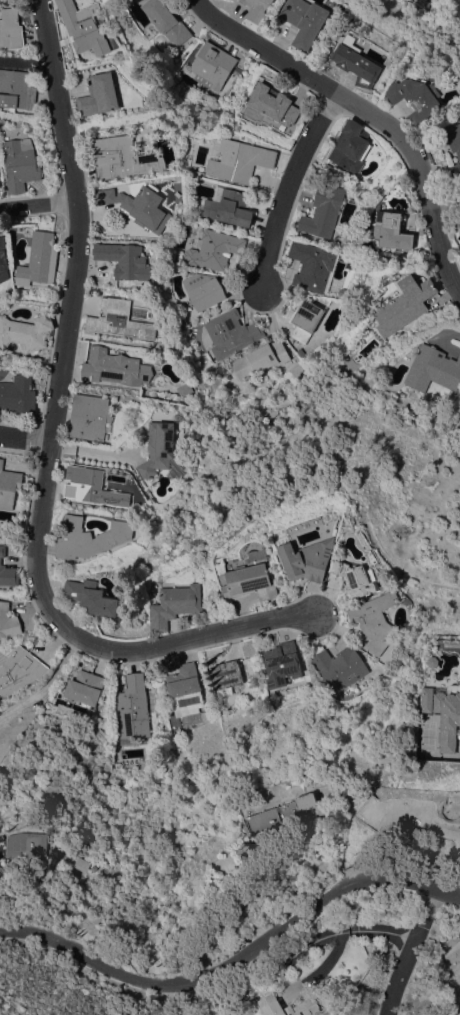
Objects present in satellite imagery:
building: (256, 9)
building: (305, 20)
building: (166, 22)
building: (81, 25)
building: (11, 29)
building: (356, 61)
building: (212, 65)
building: (16, 89)
building: (98, 95)
building: (416, 98)
building: (274, 104)
road: (367, 113)
building: (450, 138)
building: (350, 146)
building: (122, 157)
building: (240, 160)
building: (21, 164)
building: (455, 170)
road: (286, 189)
road: (38, 206)
building: (139, 206)
building: (228, 206)
road: (445, 206)
building: (323, 211)
building: (391, 230)
building: (213, 249)
building: (38, 259)
building: (3, 260)
building: (124, 260)
building: (312, 266)
building: (203, 290)
building: (405, 304)
building: (305, 319)
building: (119, 320)
building: (25, 331)
building: (230, 332)
building: (300, 351)
building: (259, 359)
building: (114, 367)
building: (433, 369)
building: (185, 388)
building: (18, 393)
building: (89, 416)
road: (27, 435)
road: (52, 446)
building: (158, 448)
building: (8, 486)
building: (92, 487)
building: (89, 537)
building: (309, 558)
building: (7, 570)
building: (353, 579)
building: (250, 580)
building: (90, 597)
building: (176, 604)
building: (375, 619)
building: (8, 621)
building: (282, 663)
building: (339, 667)
building: (18, 670)
building: (227, 674)
road: (48, 687)
building: (84, 687)
building: (184, 688)
building: (288, 689)
building: (132, 708)
building: (444, 712)
building: (282, 813)
building: (30, 845)
building: (85, 864)
road: (411, 951)
road: (298, 953)
road: (236, 965)
building: (291, 1006)

